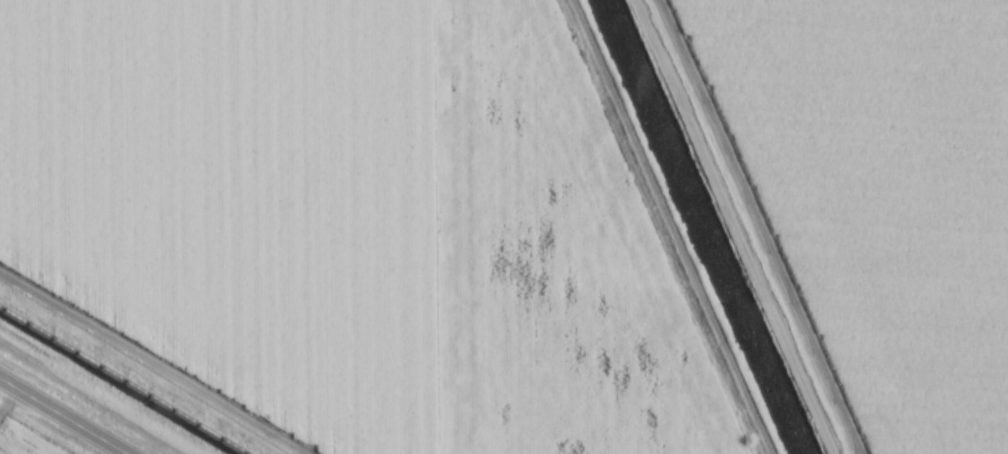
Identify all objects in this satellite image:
road: (736, 226)
railway: (117, 383)
road: (61, 417)

